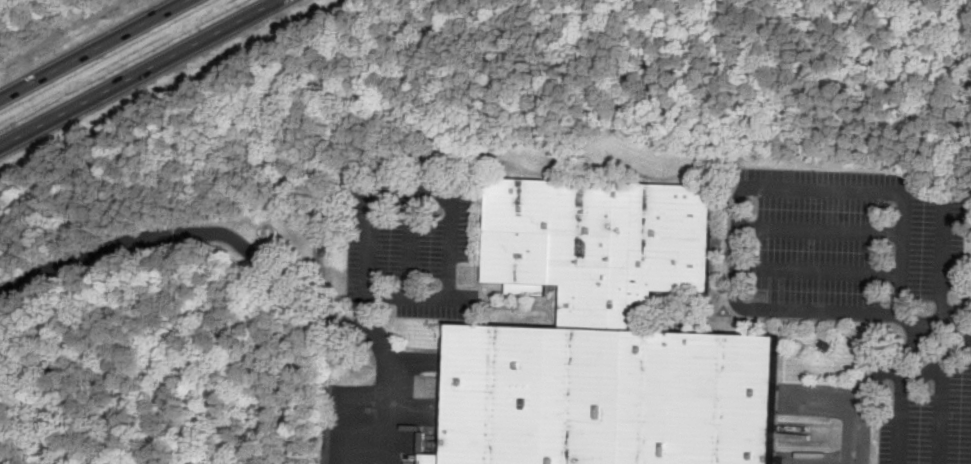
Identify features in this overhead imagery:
road: (94, 49)
road: (139, 73)
road: (435, 198)
road: (739, 204)
road: (821, 230)
road: (119, 235)
road: (410, 246)
road: (943, 255)
road: (819, 270)
road: (365, 325)
building: (605, 338)
road: (937, 363)
road: (887, 370)
road: (943, 410)
road: (902, 412)

